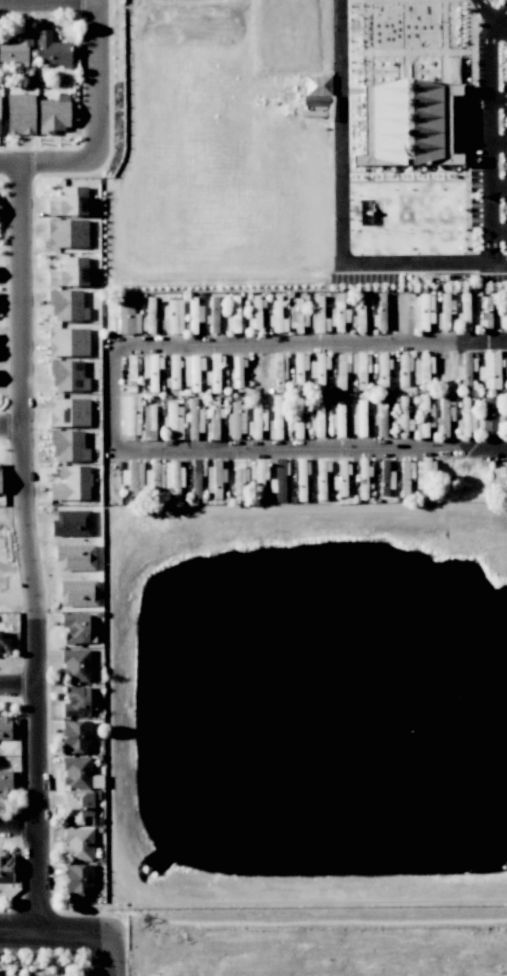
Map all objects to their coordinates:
road: (500, 22)
building: (16, 47)
building: (52, 50)
road: (97, 77)
building: (321, 95)
road: (497, 98)
building: (20, 113)
building: (54, 114)
building: (410, 123)
road: (488, 124)
road: (498, 144)
building: (363, 148)
road: (49, 162)
road: (498, 188)
building: (69, 202)
road: (342, 202)
road: (498, 231)
building: (67, 233)
road: (498, 260)
building: (69, 272)
building: (67, 306)
building: (234, 307)
building: (423, 311)
building: (444, 311)
building: (464, 311)
building: (214, 313)
building: (173, 316)
building: (339, 316)
building: (319, 317)
building: (127, 318)
building: (297, 318)
building: (359, 319)
building: (68, 342)
building: (276, 369)
building: (423, 370)
building: (318, 371)
building: (465, 371)
building: (490, 371)
building: (150, 372)
building: (506, 372)
building: (67, 375)
building: (131, 375)
building: (174, 380)
building: (191, 381)
road: (114, 396)
building: (68, 412)
building: (445, 414)
building: (489, 414)
building: (129, 416)
building: (425, 417)
building: (276, 418)
building: (297, 418)
building: (403, 418)
building: (194, 419)
building: (257, 420)
building: (317, 420)
building: (236, 421)
building: (149, 422)
building: (173, 422)
road: (12, 427)
building: (68, 446)
building: (153, 477)
building: (258, 477)
building: (424, 477)
building: (135, 478)
building: (385, 478)
building: (404, 478)
building: (172, 479)
building: (196, 479)
building: (340, 479)
building: (498, 479)
building: (238, 480)
building: (71, 484)
building: (0, 487)
building: (72, 523)
road: (25, 549)
building: (75, 557)
building: (78, 593)
building: (75, 627)
building: (5, 645)
building: (76, 665)
road: (17, 680)
building: (76, 702)
building: (5, 728)
building: (76, 737)
road: (130, 762)
building: (79, 773)
building: (5, 782)
building: (79, 808)
road: (18, 830)
building: (79, 843)
building: (5, 868)
building: (78, 879)
road: (58, 935)
road: (117, 957)

